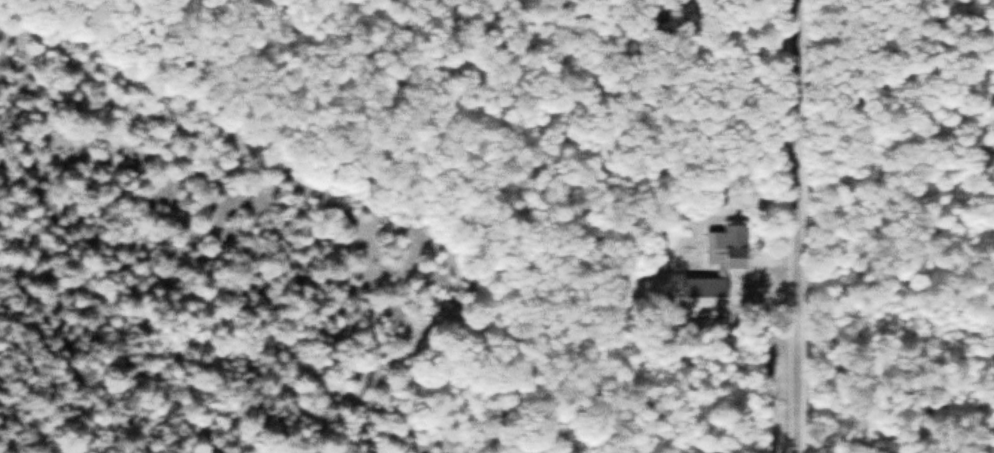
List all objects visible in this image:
road: (788, 226)
building: (713, 274)

